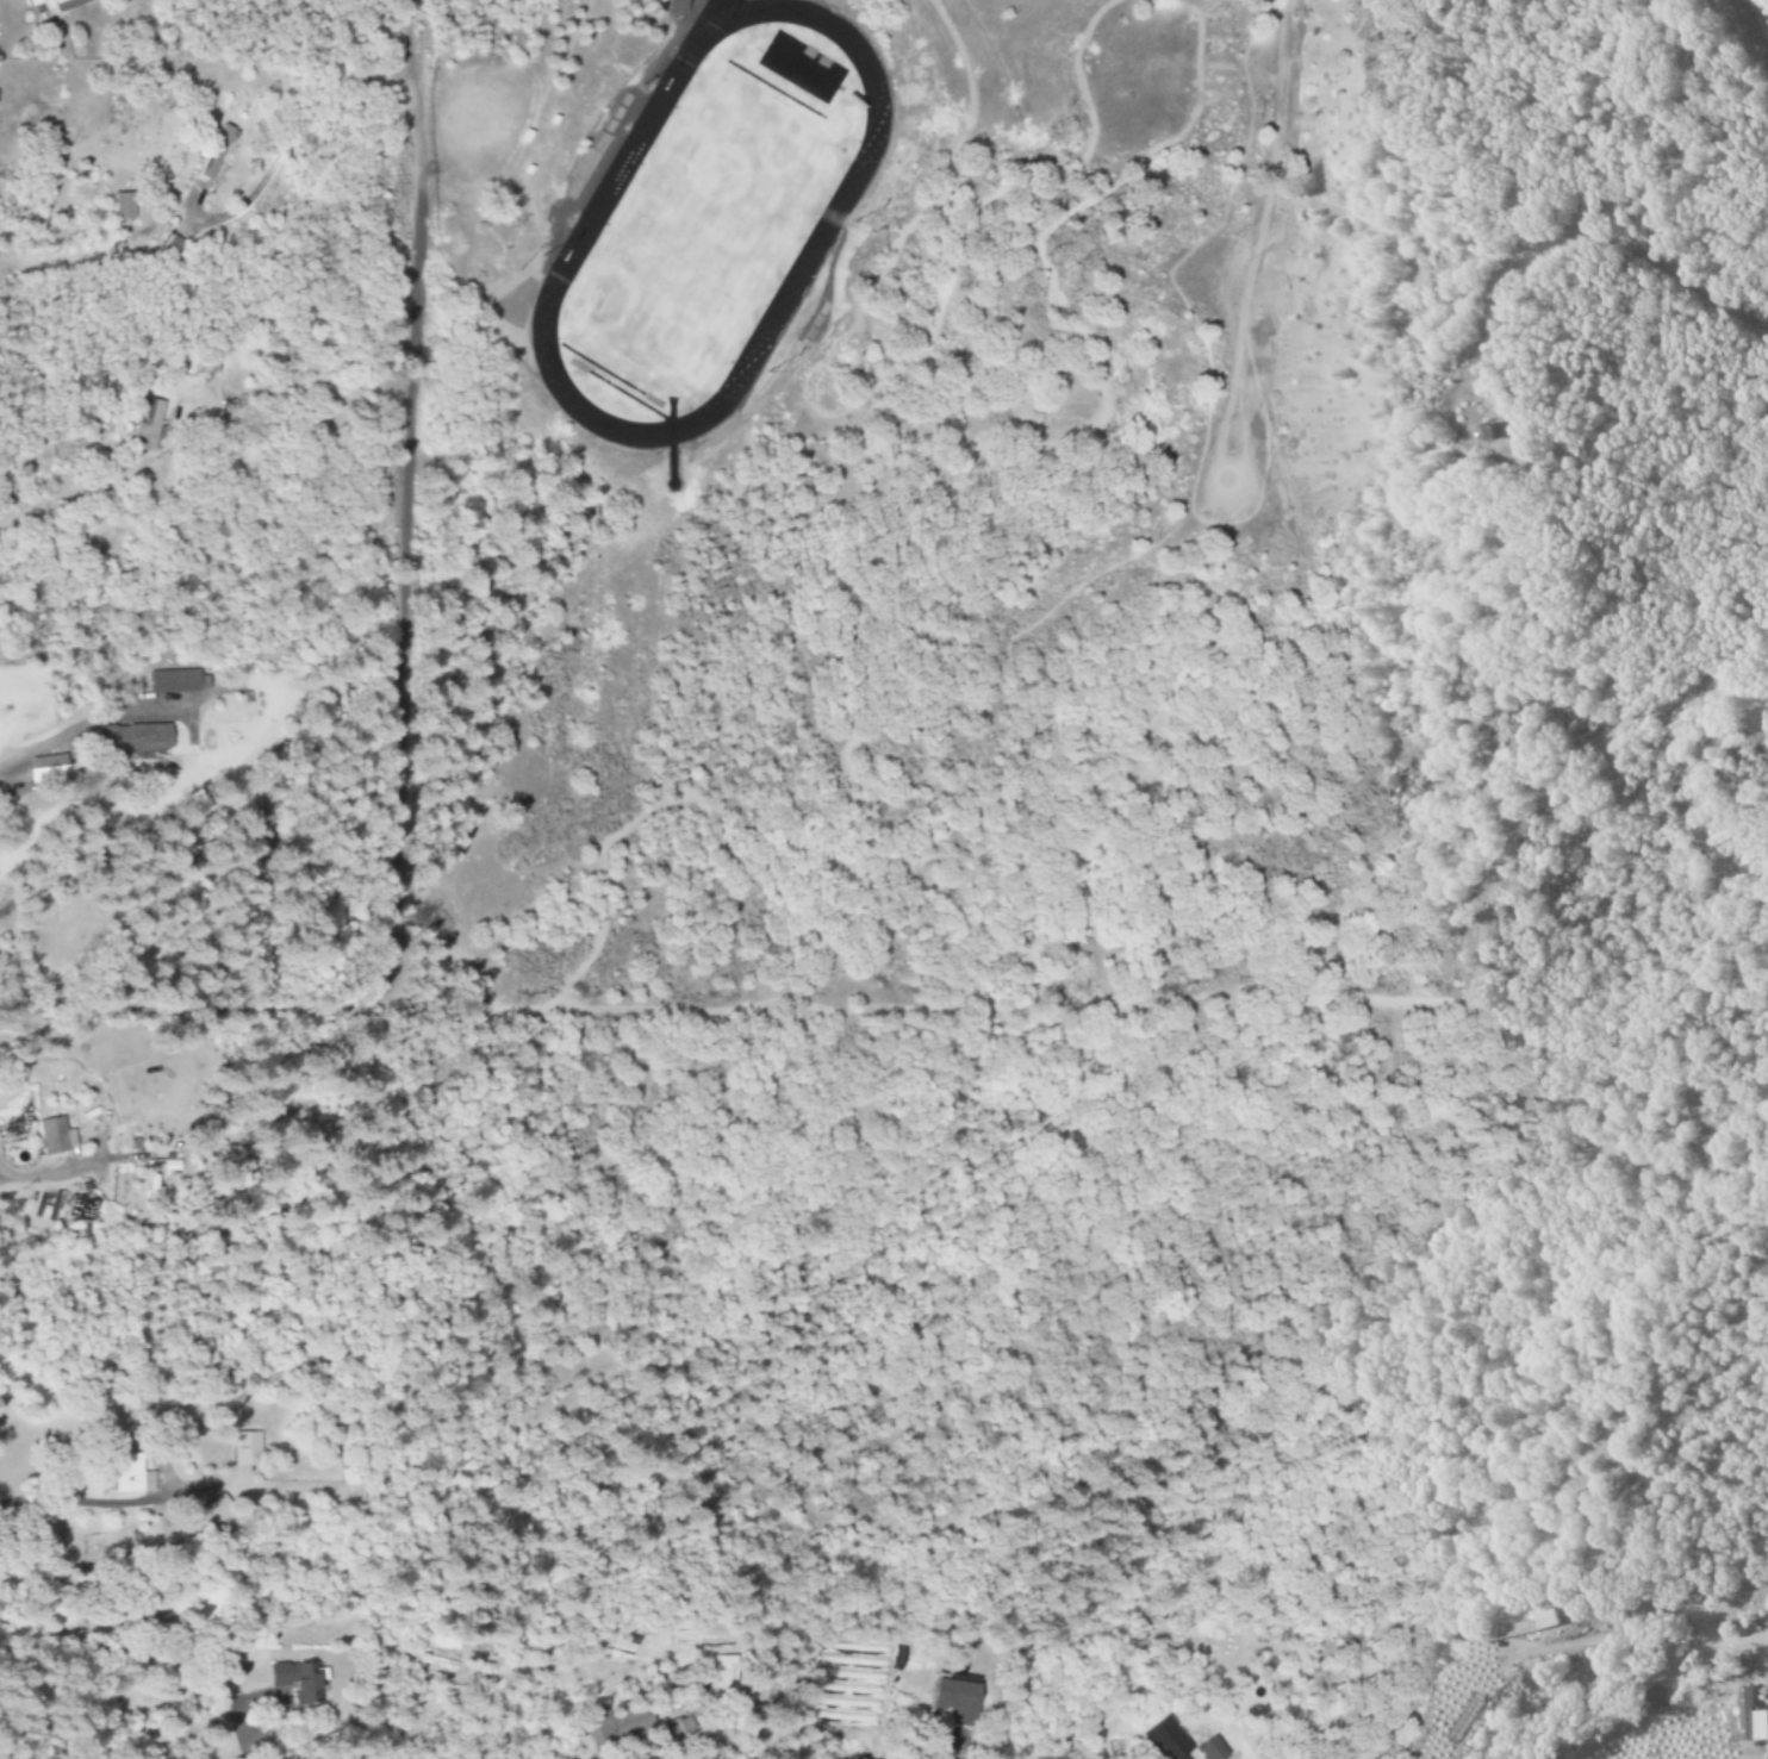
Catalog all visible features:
building: (678, 1)
building: (68, 5)
road: (1755, 21)
building: (815, 82)
building: (216, 155)
track: (835, 199)
building: (124, 206)
park: (699, 233)
building: (217, 369)
building: (157, 426)
road: (137, 510)
road: (398, 588)
building: (176, 681)
road: (57, 740)
building: (51, 768)
building: (56, 1135)
building: (154, 1191)
building: (244, 1448)
building: (130, 1474)
building: (216, 1516)
building: (1512, 1624)
building: (717, 1674)
building: (298, 1682)
building: (952, 1696)
building: (1747, 1717)
building: (1166, 1740)

